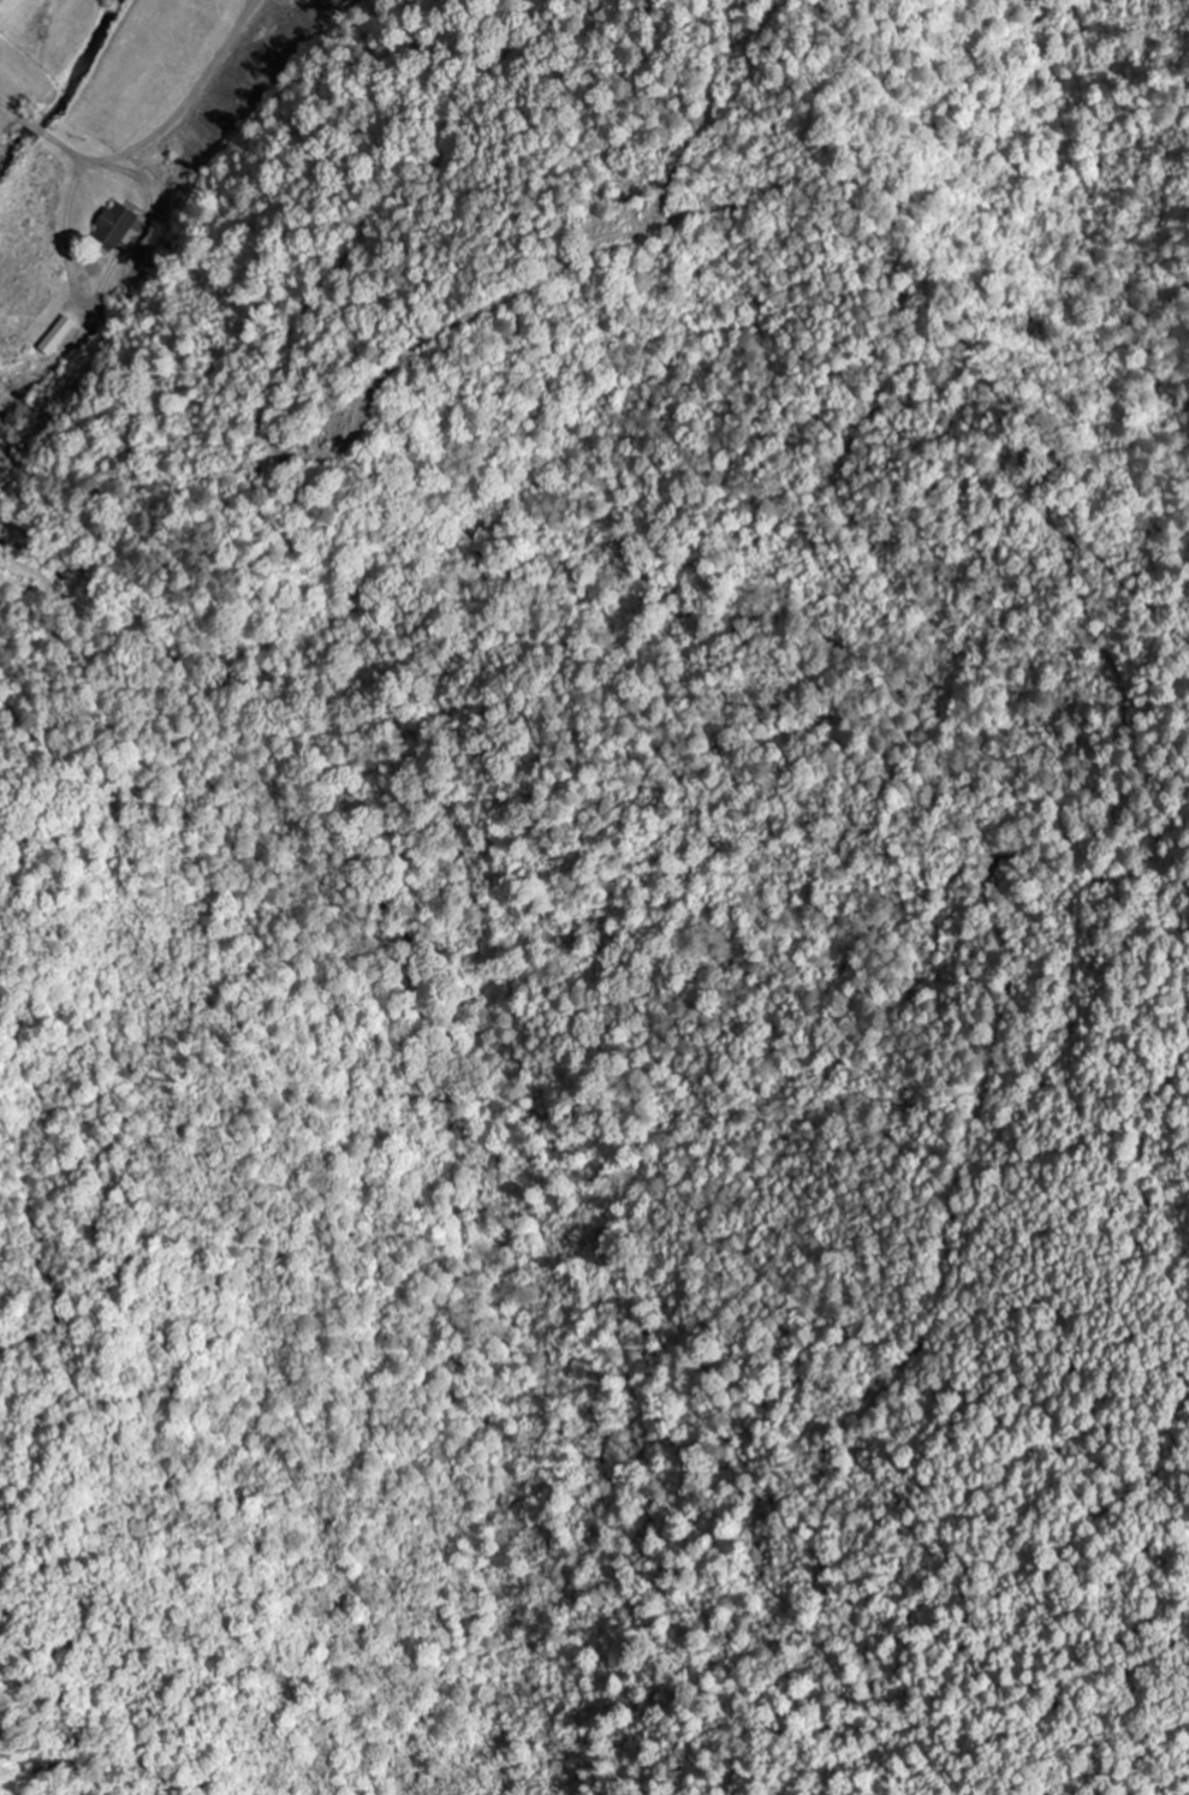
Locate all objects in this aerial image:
building: (117, 226)

